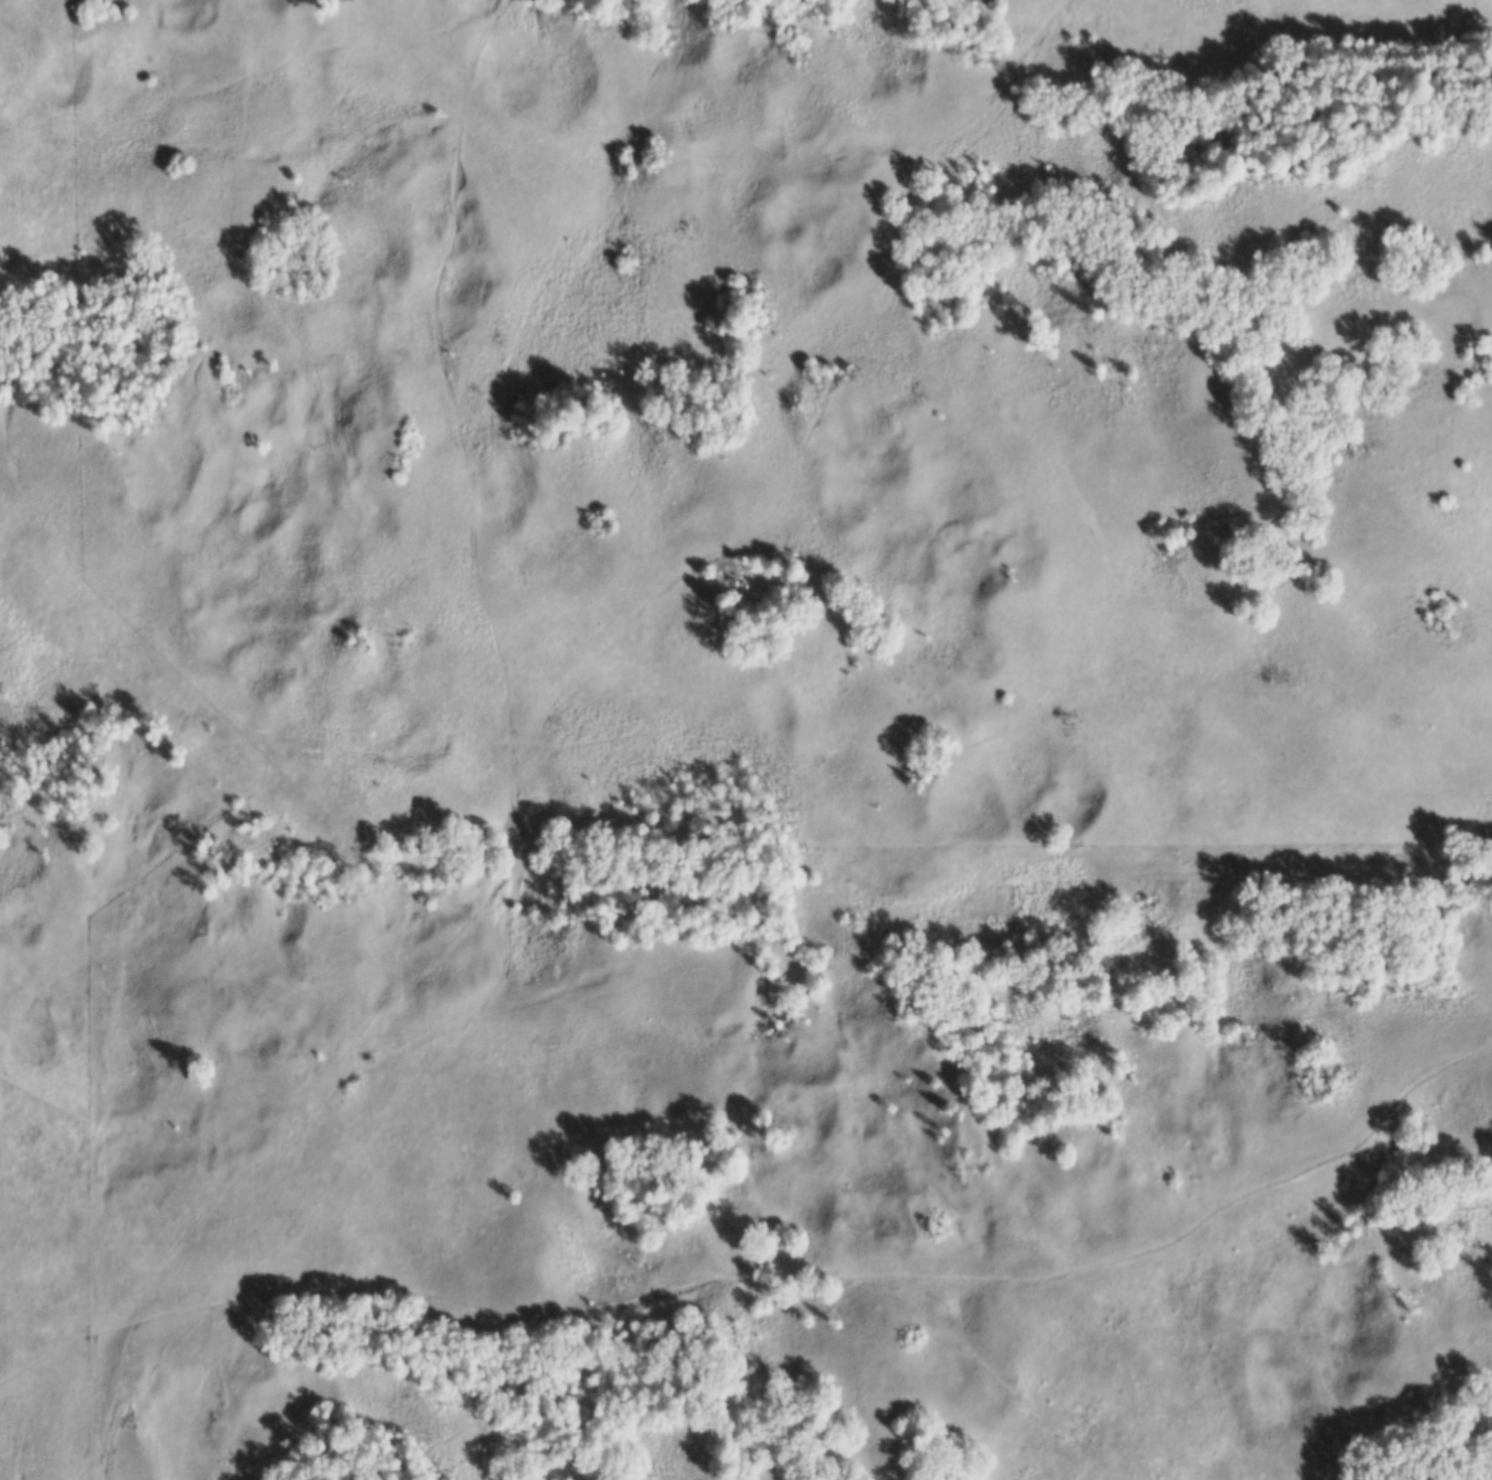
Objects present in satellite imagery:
road: (517, 815)
road: (769, 1287)

